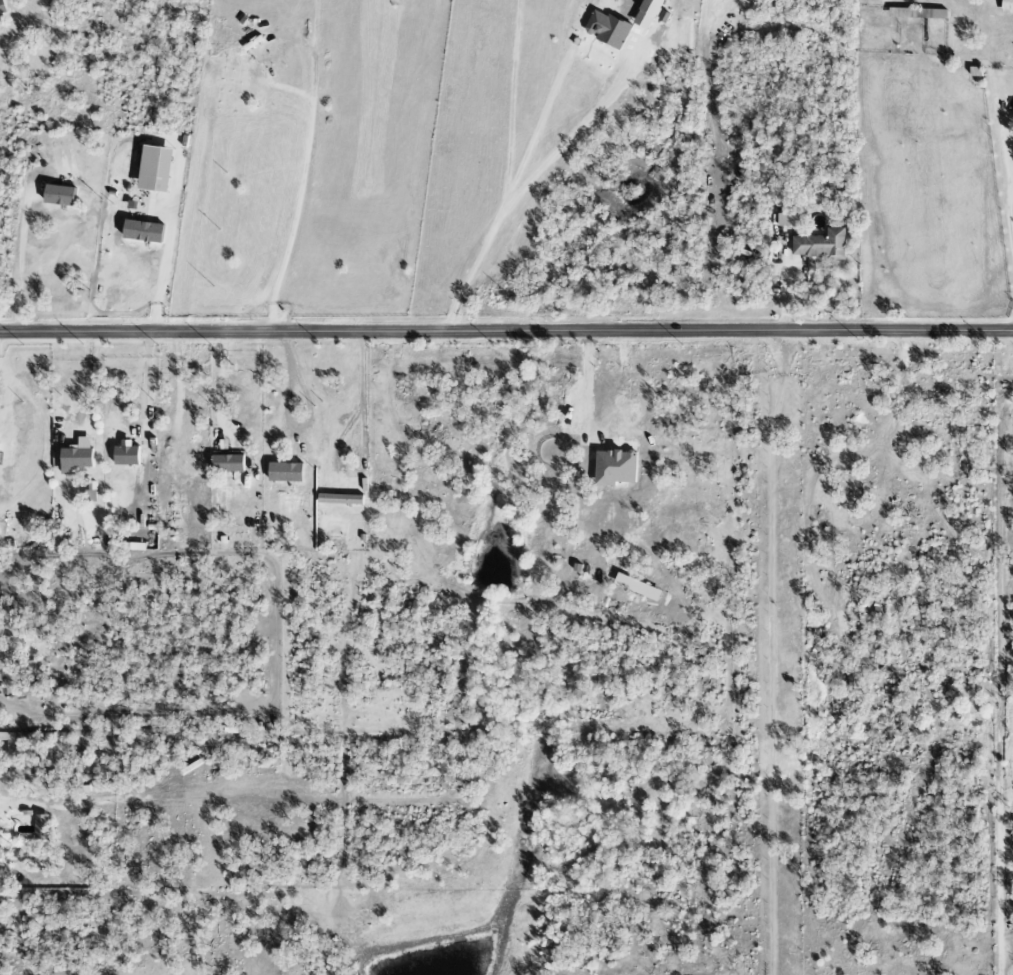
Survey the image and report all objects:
building: (649, 7)
building: (1006, 7)
building: (1, 8)
building: (936, 14)
building: (606, 29)
building: (153, 169)
road: (511, 188)
building: (57, 195)
building: (784, 220)
building: (141, 231)
road: (168, 241)
building: (820, 245)
road: (21, 264)
road: (506, 335)
road: (221, 384)
road: (600, 431)
road: (48, 434)
road: (369, 452)
building: (76, 454)
building: (125, 455)
building: (225, 463)
building: (613, 468)
building: (283, 472)
building: (89, 492)
road: (776, 653)
road: (1001, 684)
building: (12, 754)
road: (65, 804)
building: (40, 834)
building: (0, 851)

